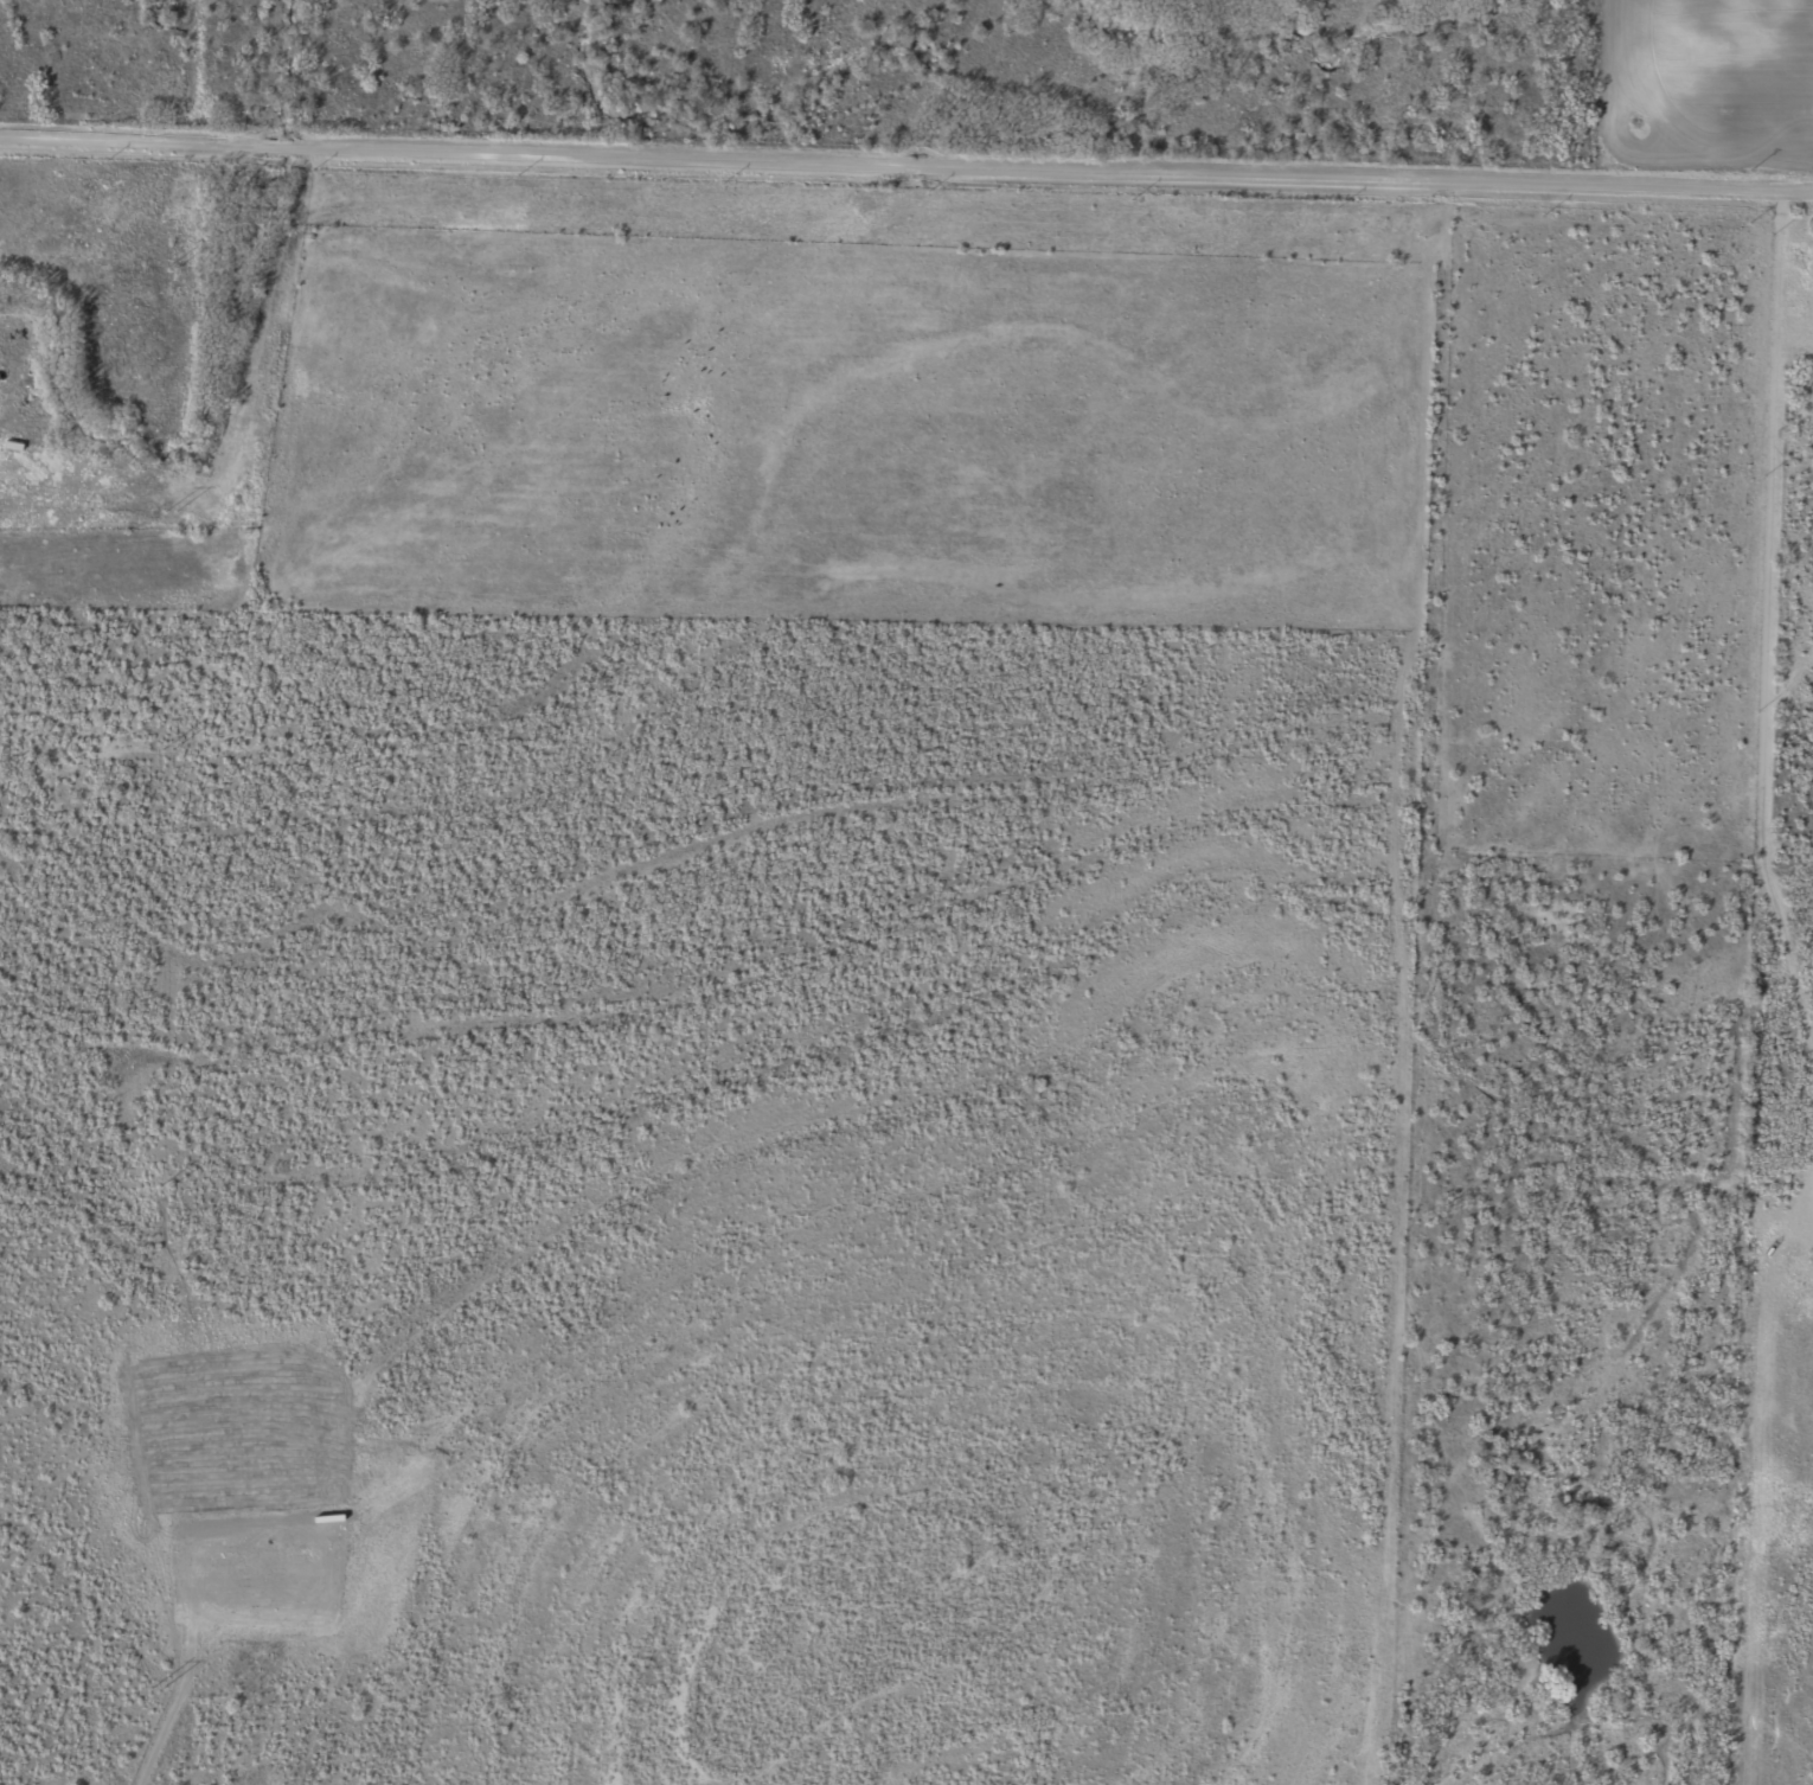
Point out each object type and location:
road: (905, 160)
power tower: (173, 265)
power tower: (171, 511)
power tower: (167, 749)
power tower: (162, 1185)
power tower: (156, 1688)

